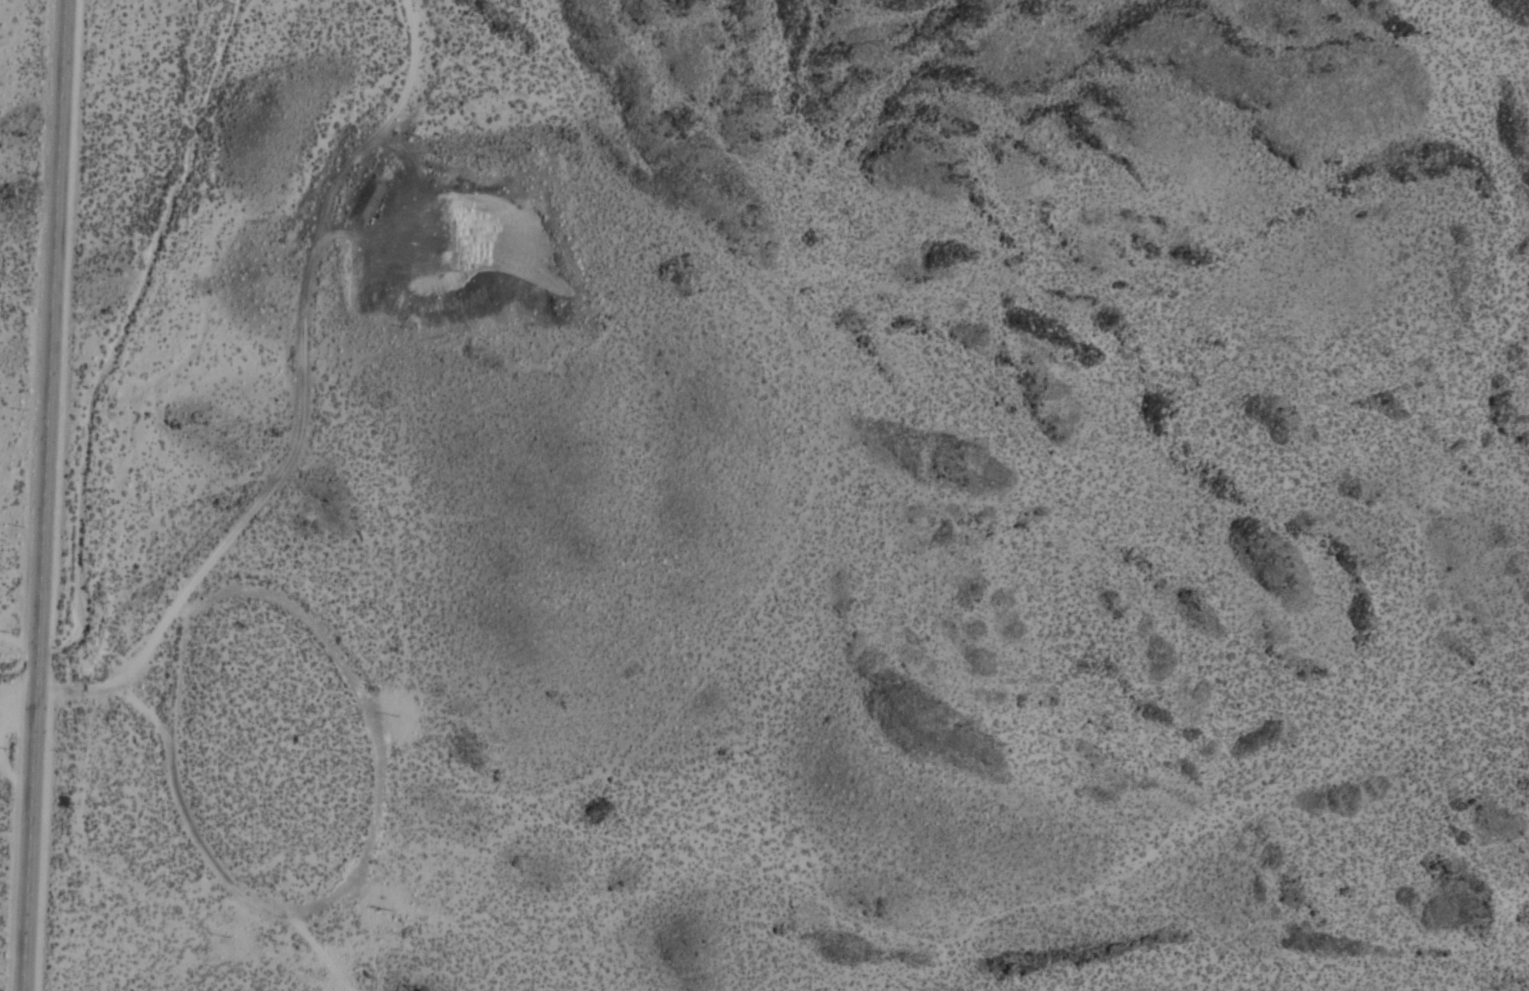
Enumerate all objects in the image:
quarry: (457, 259)
road: (301, 393)
road: (44, 495)
road: (19, 639)
road: (212, 849)

